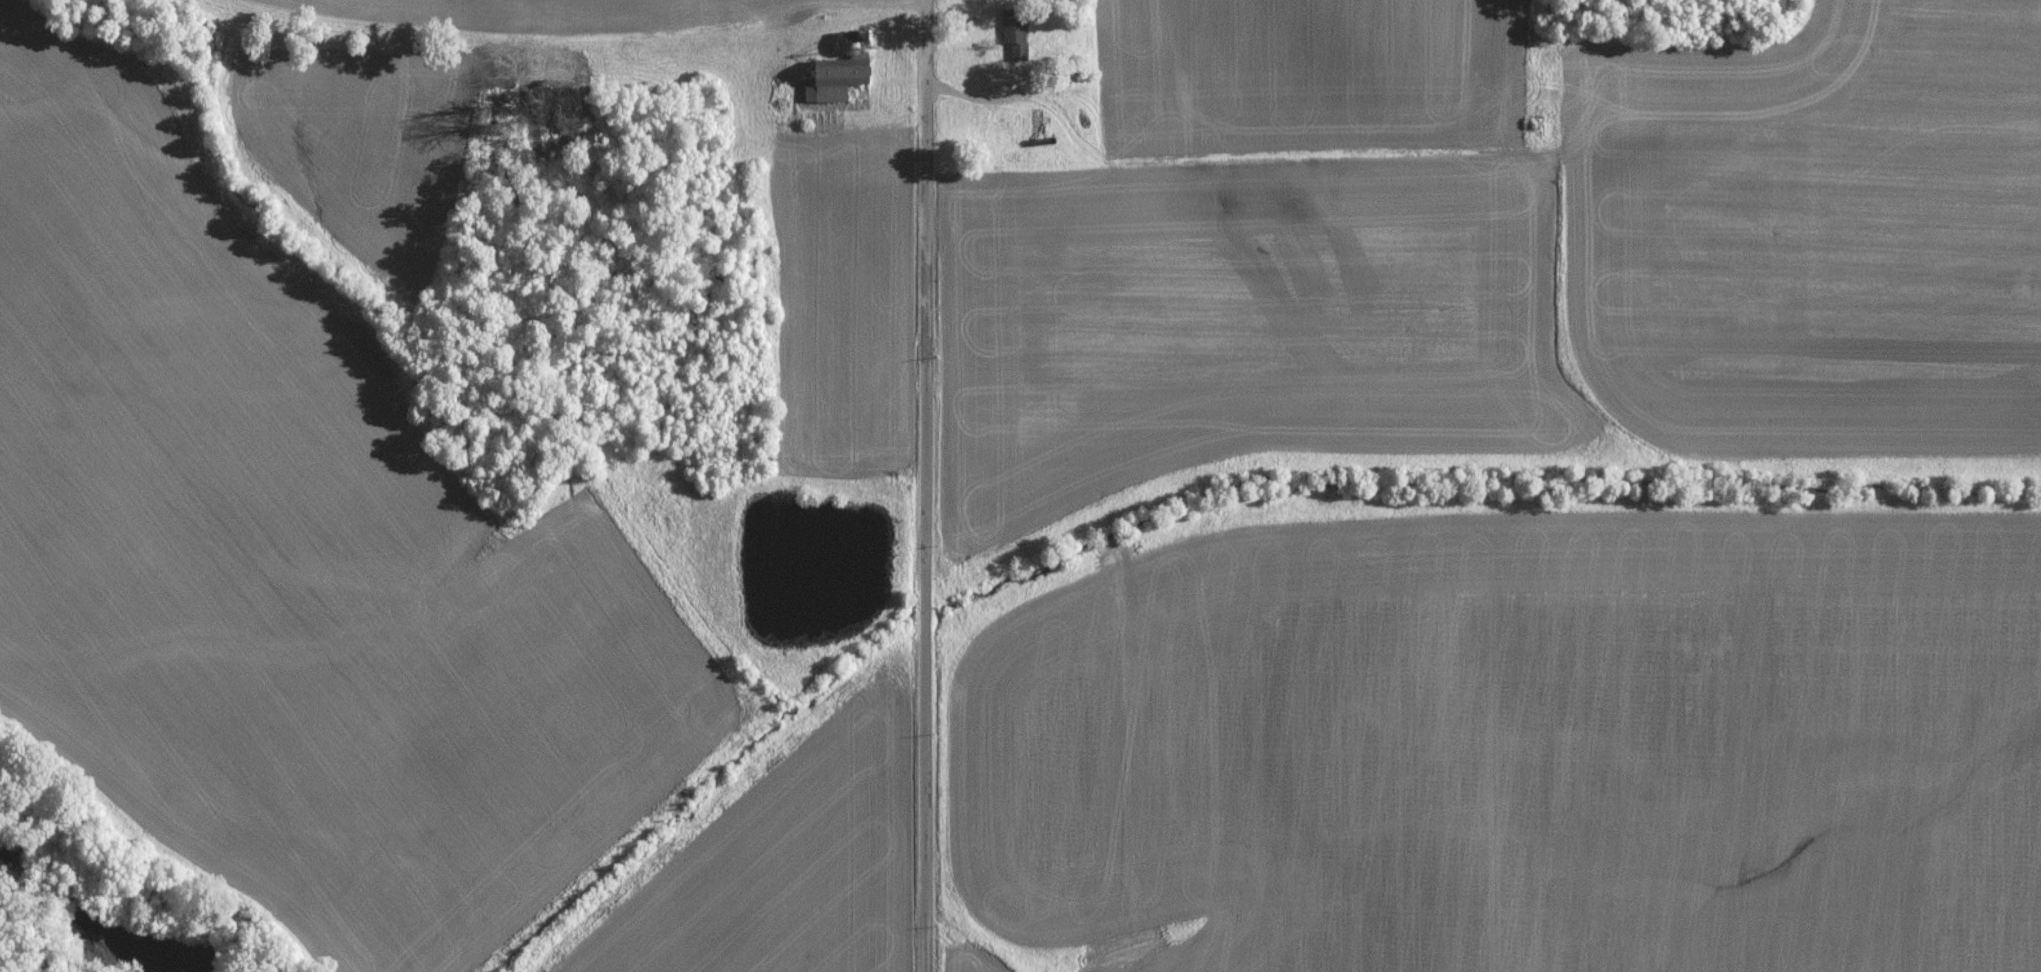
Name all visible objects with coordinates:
building: (1013, 36)
road: (925, 486)

